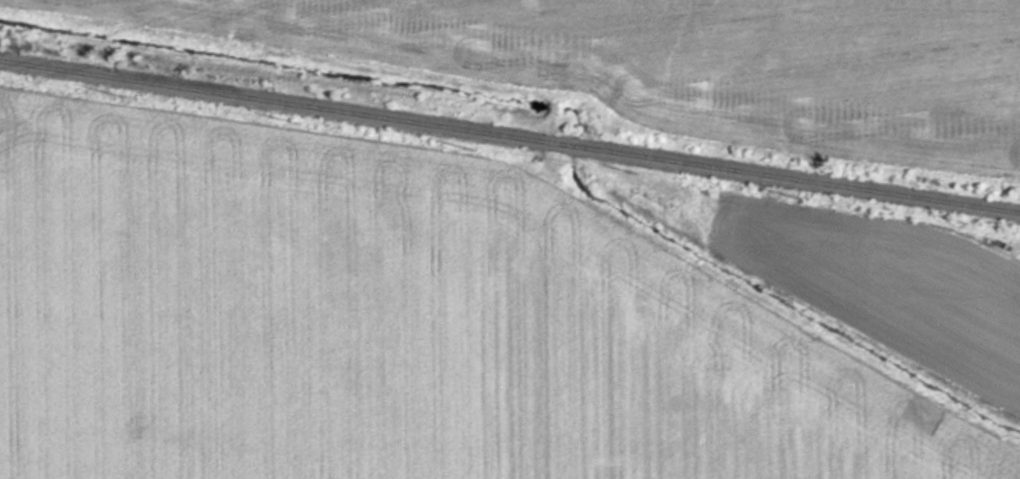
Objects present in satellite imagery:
power tower: (1, 118)
railway: (509, 142)

